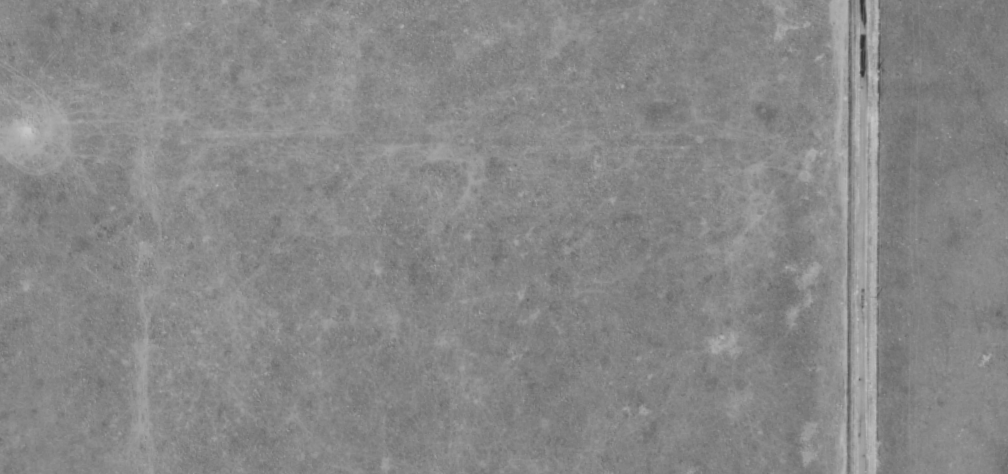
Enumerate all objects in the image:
road: (866, 237)

